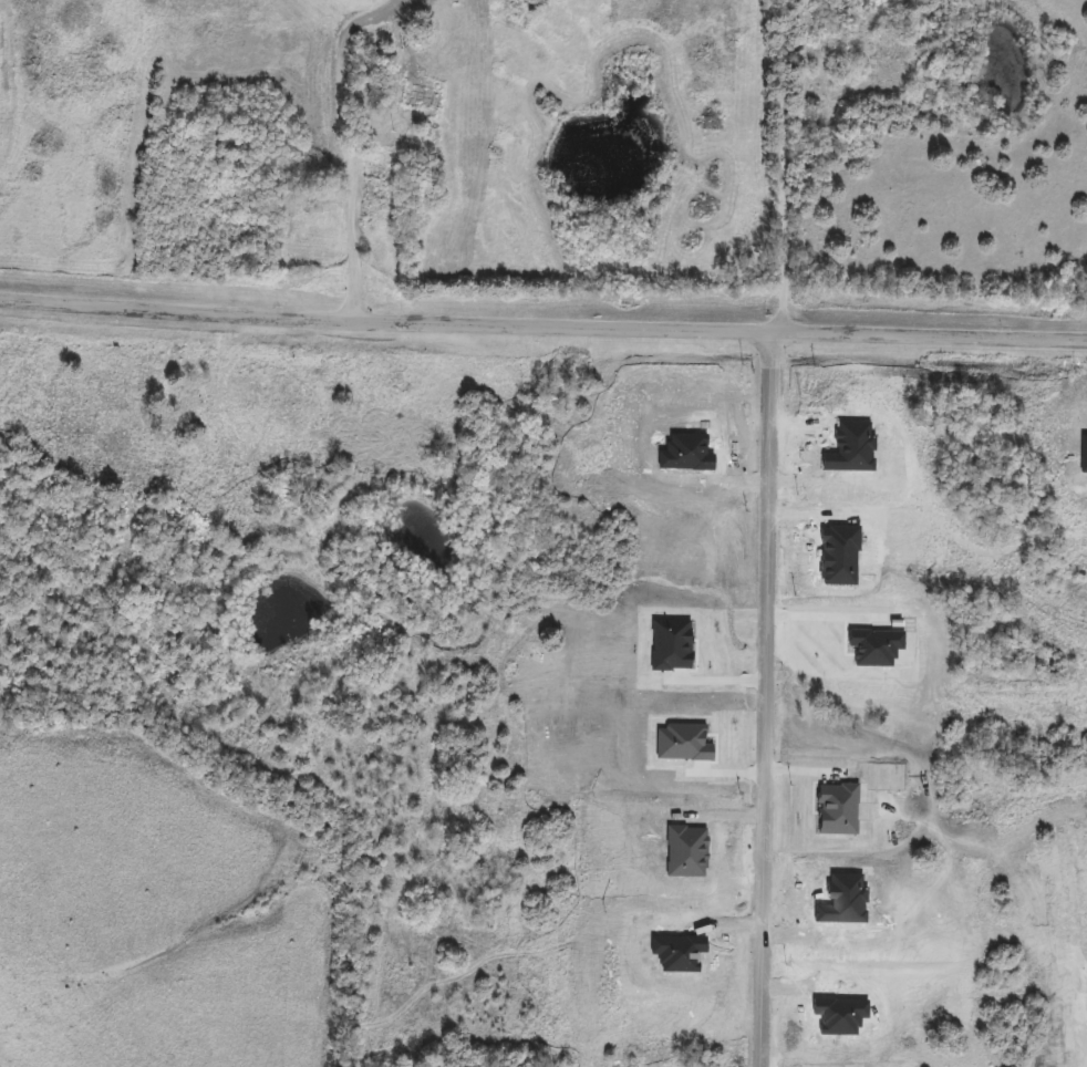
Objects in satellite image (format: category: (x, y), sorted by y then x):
road: (345, 142)
road: (781, 164)
building: (381, 177)
road: (542, 331)
road: (769, 697)

